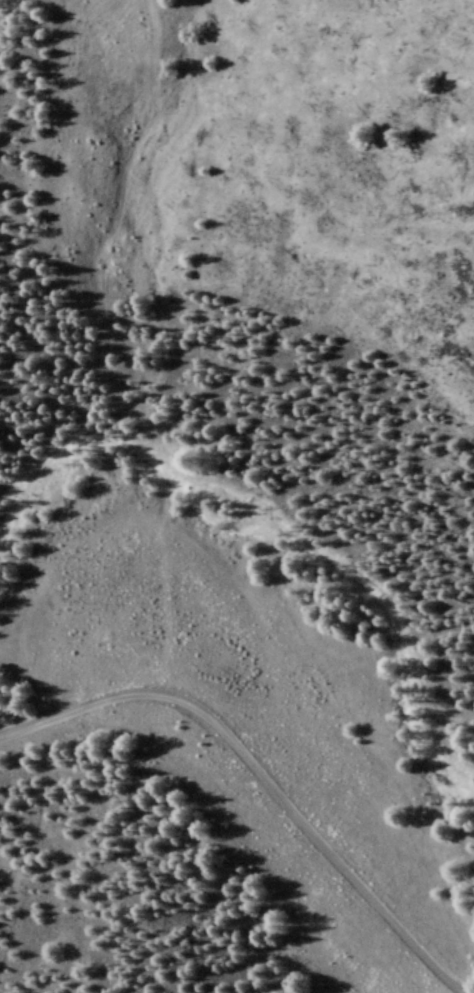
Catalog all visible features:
road: (258, 774)

